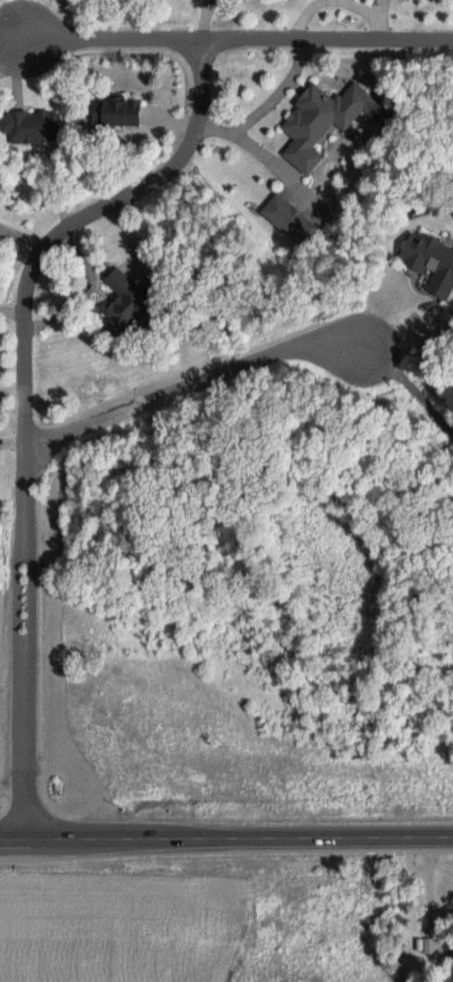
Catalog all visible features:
road: (110, 39)
road: (322, 42)
building: (125, 114)
building: (324, 123)
building: (32, 127)
building: (293, 221)
building: (125, 301)
road: (189, 386)
road: (24, 398)
road: (226, 837)
crop: (113, 929)
building: (426, 947)

